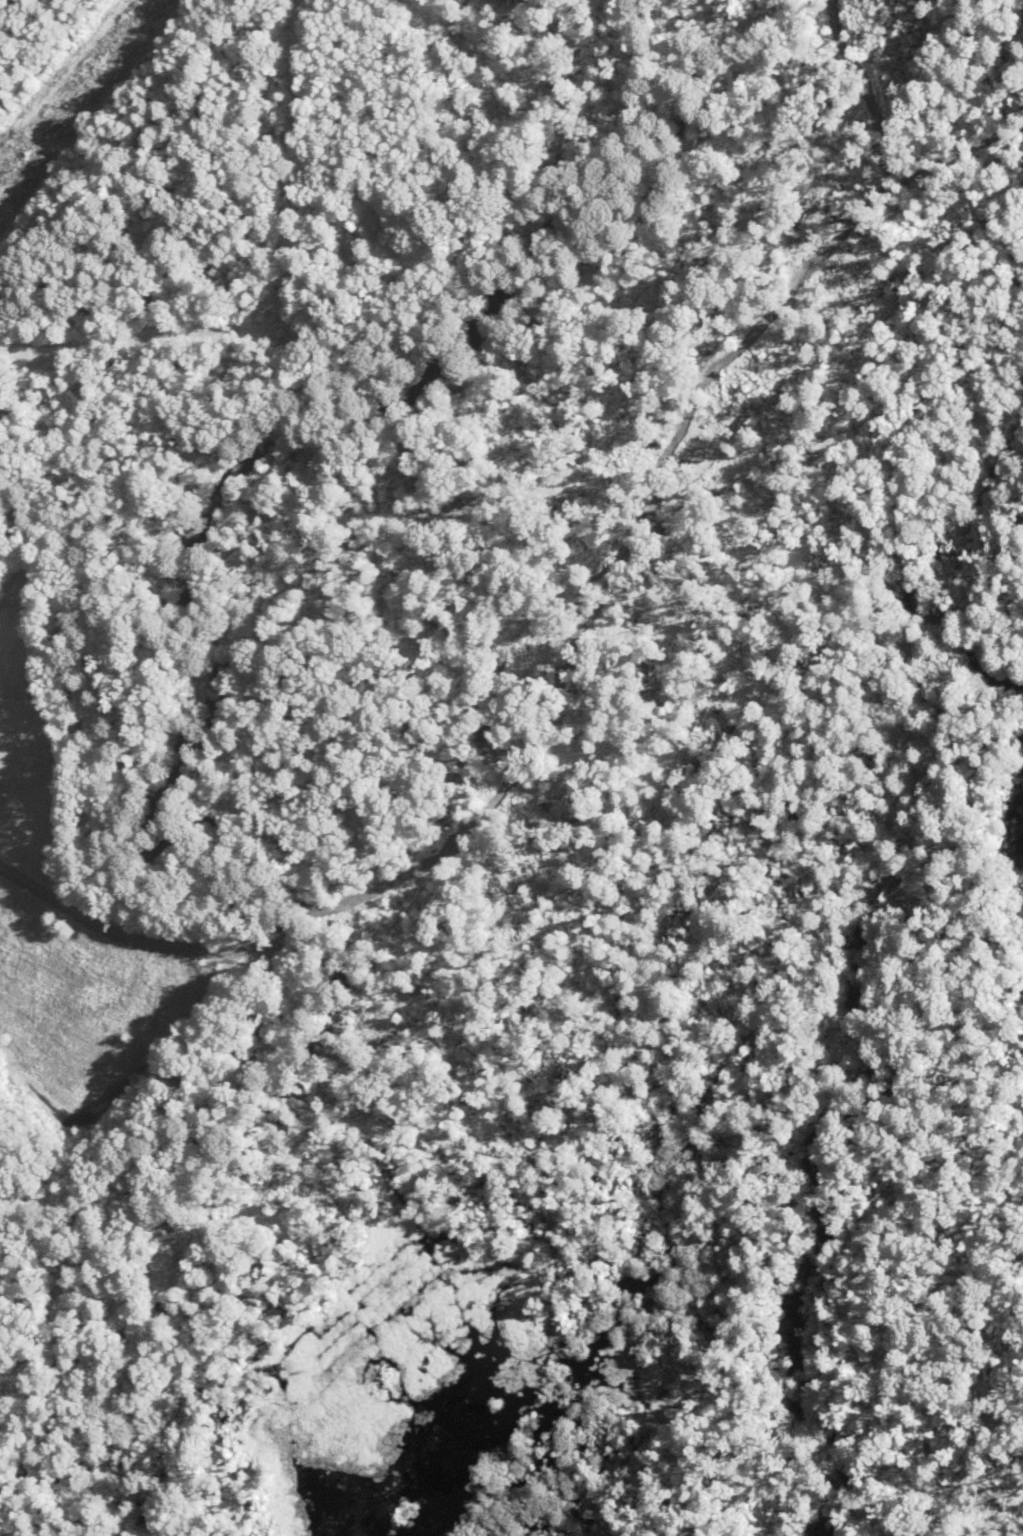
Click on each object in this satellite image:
power tower: (10, 169)

